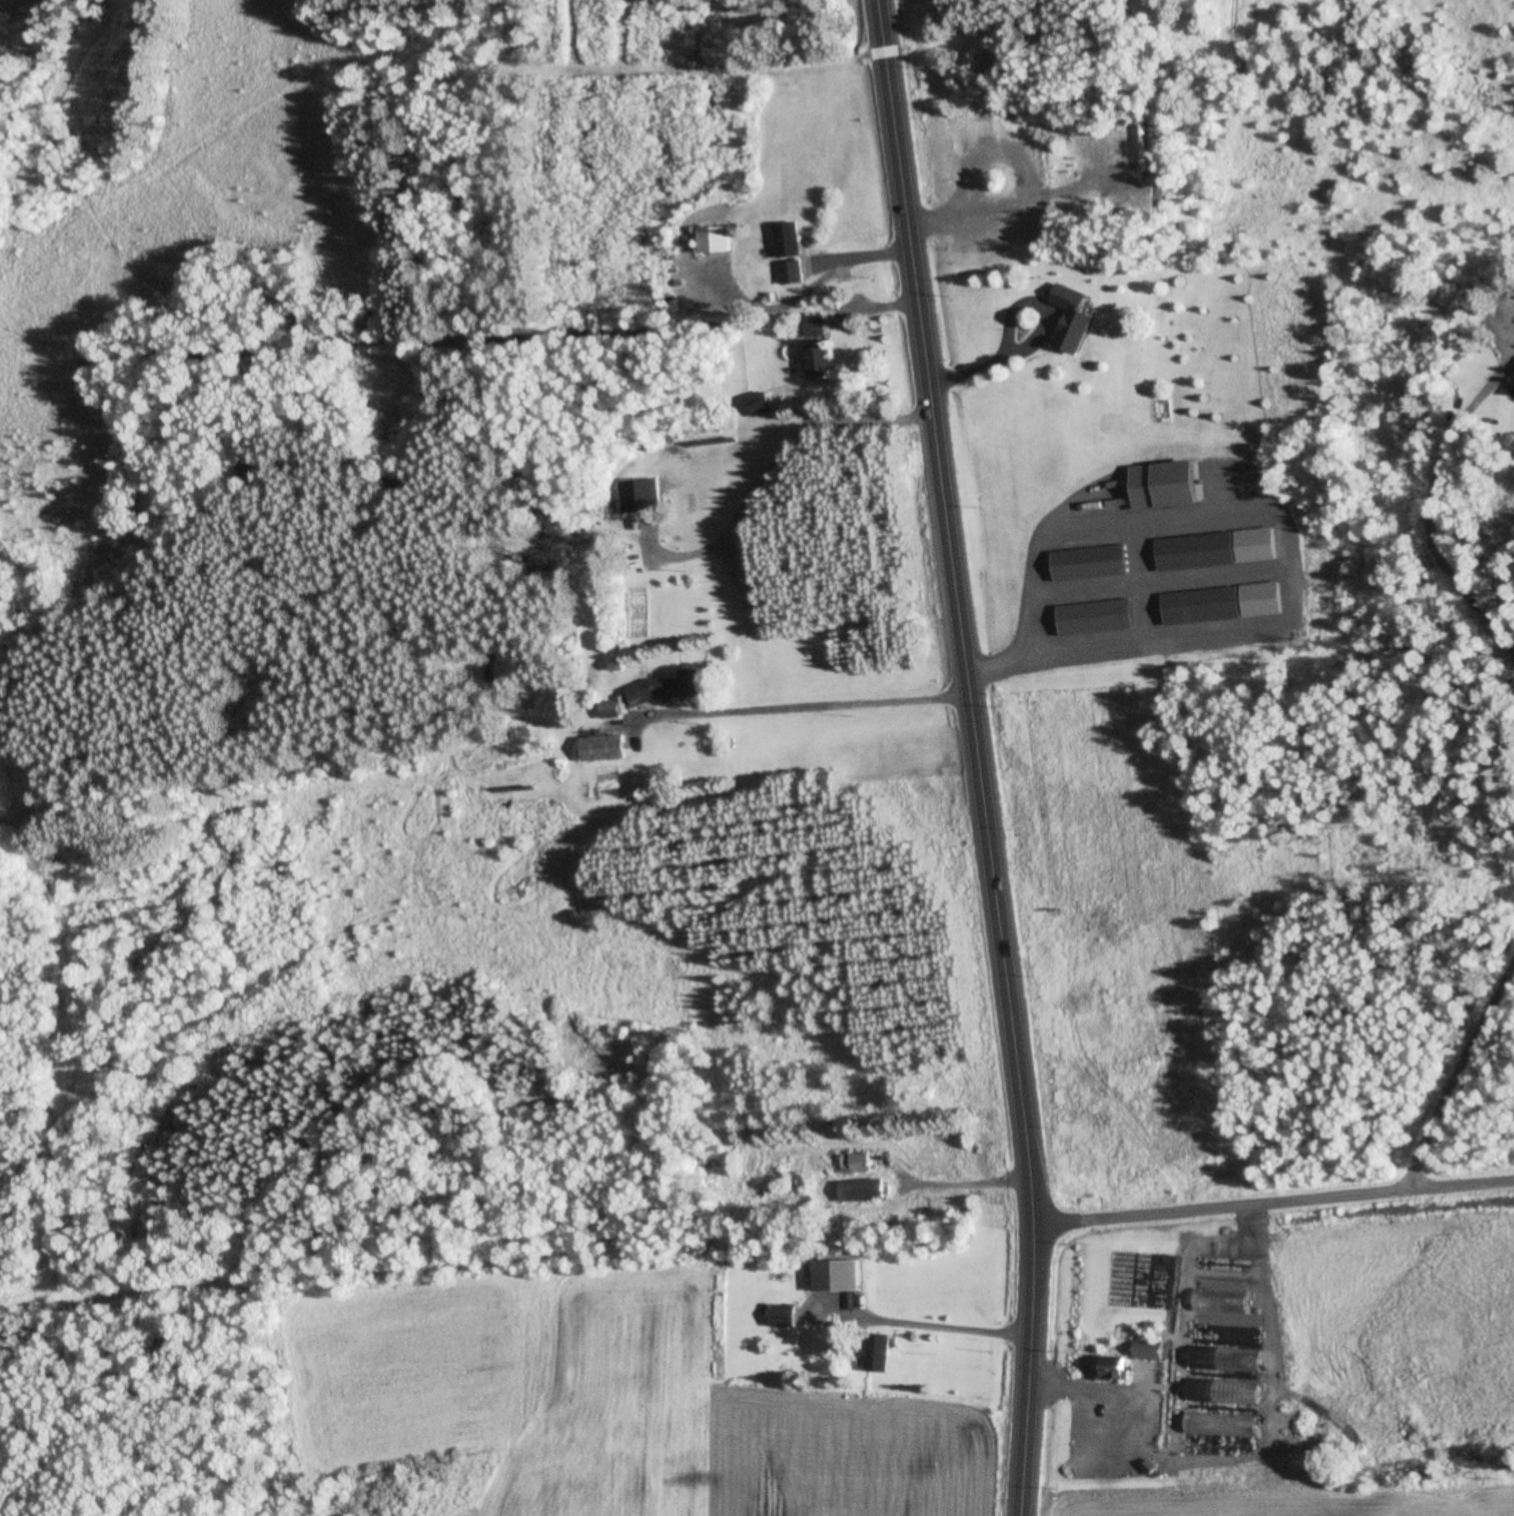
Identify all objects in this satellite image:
building: (717, 240)
building: (791, 240)
building: (793, 272)
building: (1076, 318)
building: (819, 326)
building: (822, 362)
building: (759, 405)
building: (1169, 486)
building: (639, 496)
building: (1198, 552)
building: (1092, 564)
building: (1204, 607)
building: (1098, 618)
building: (671, 689)
building: (606, 748)
road: (982, 757)
building: (857, 1163)
building: (865, 1190)
road: (1278, 1207)
building: (785, 1315)
building: (1153, 1351)
building: (881, 1353)
building: (1116, 1372)
building: (1203, 1414)

